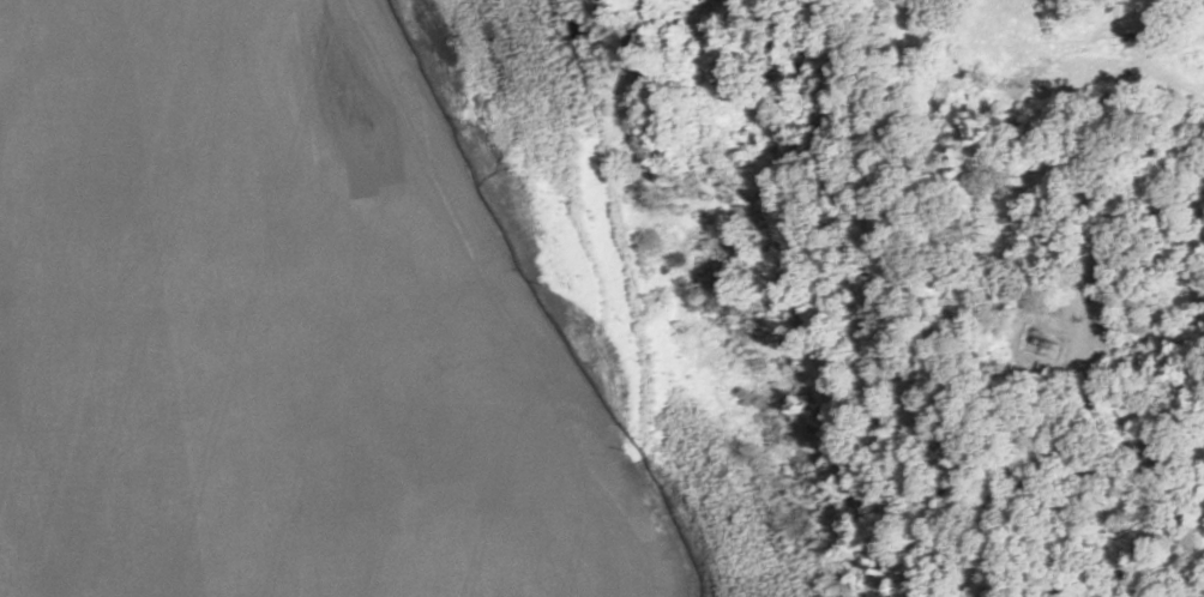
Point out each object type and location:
road: (1098, 263)

